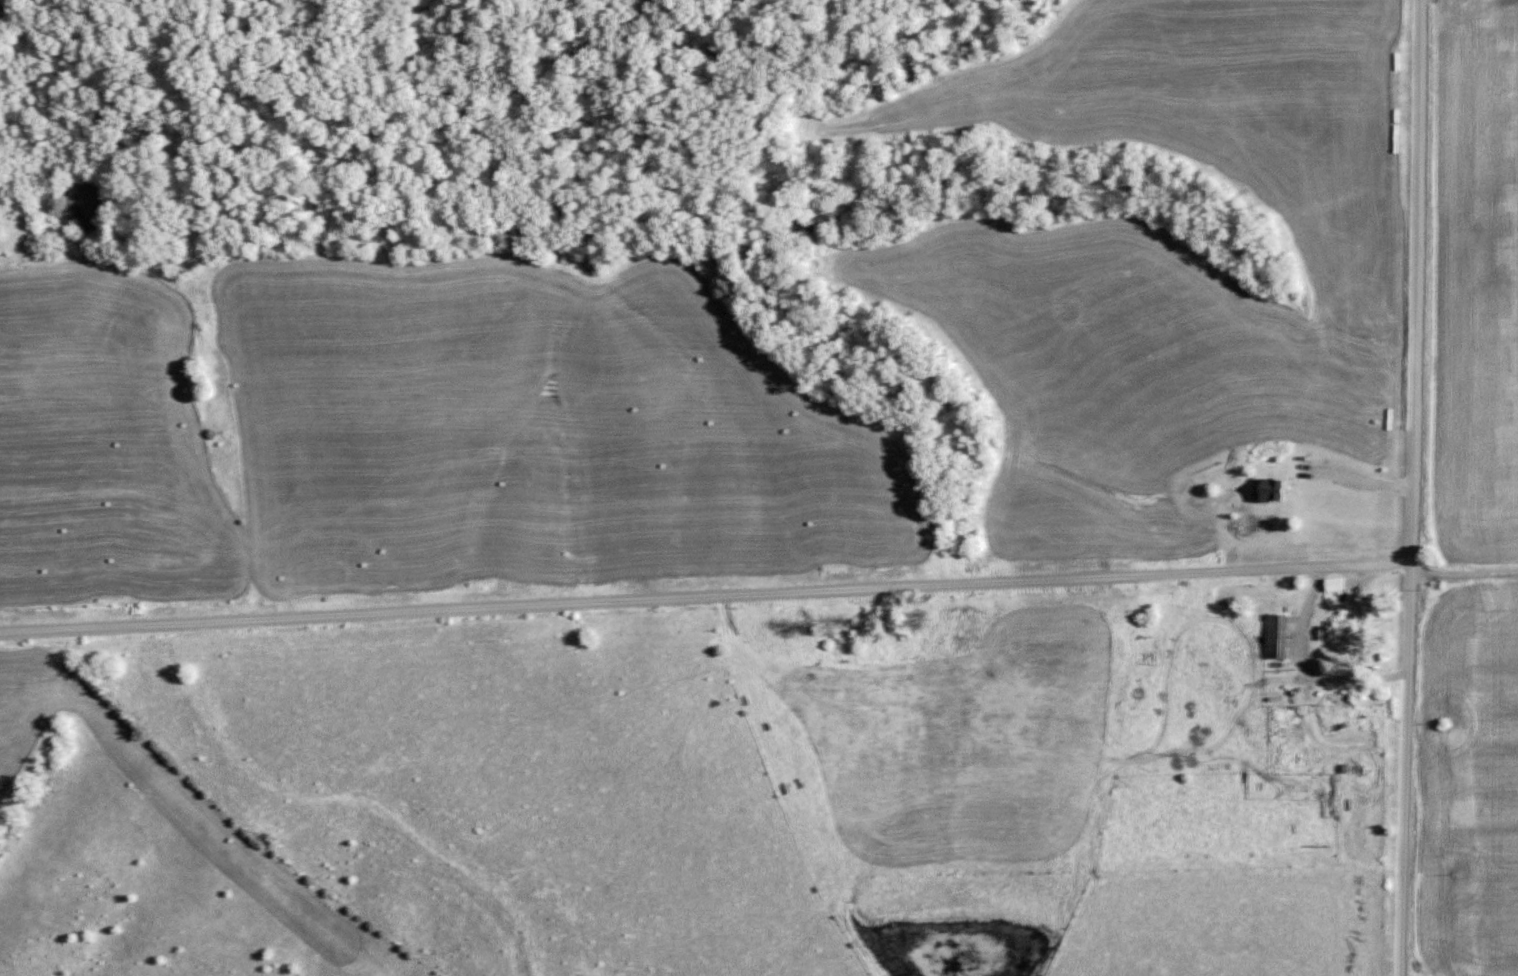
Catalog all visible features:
road: (1418, 279)
road: (706, 596)
building: (1276, 635)
building: (1280, 755)
road: (1406, 766)

